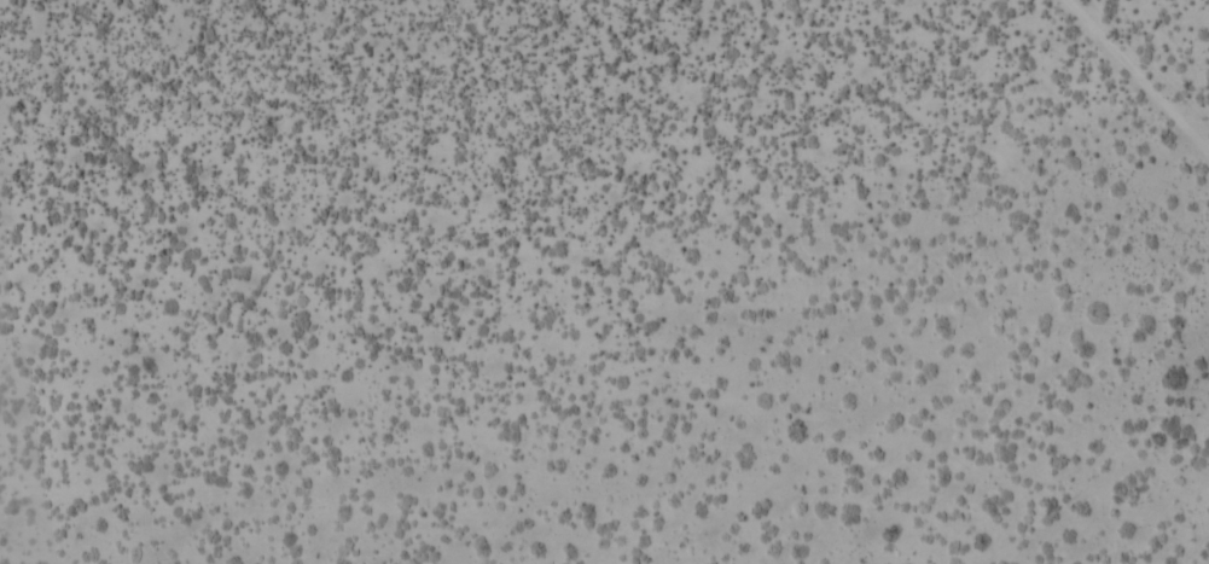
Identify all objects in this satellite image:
road: (1129, 85)

